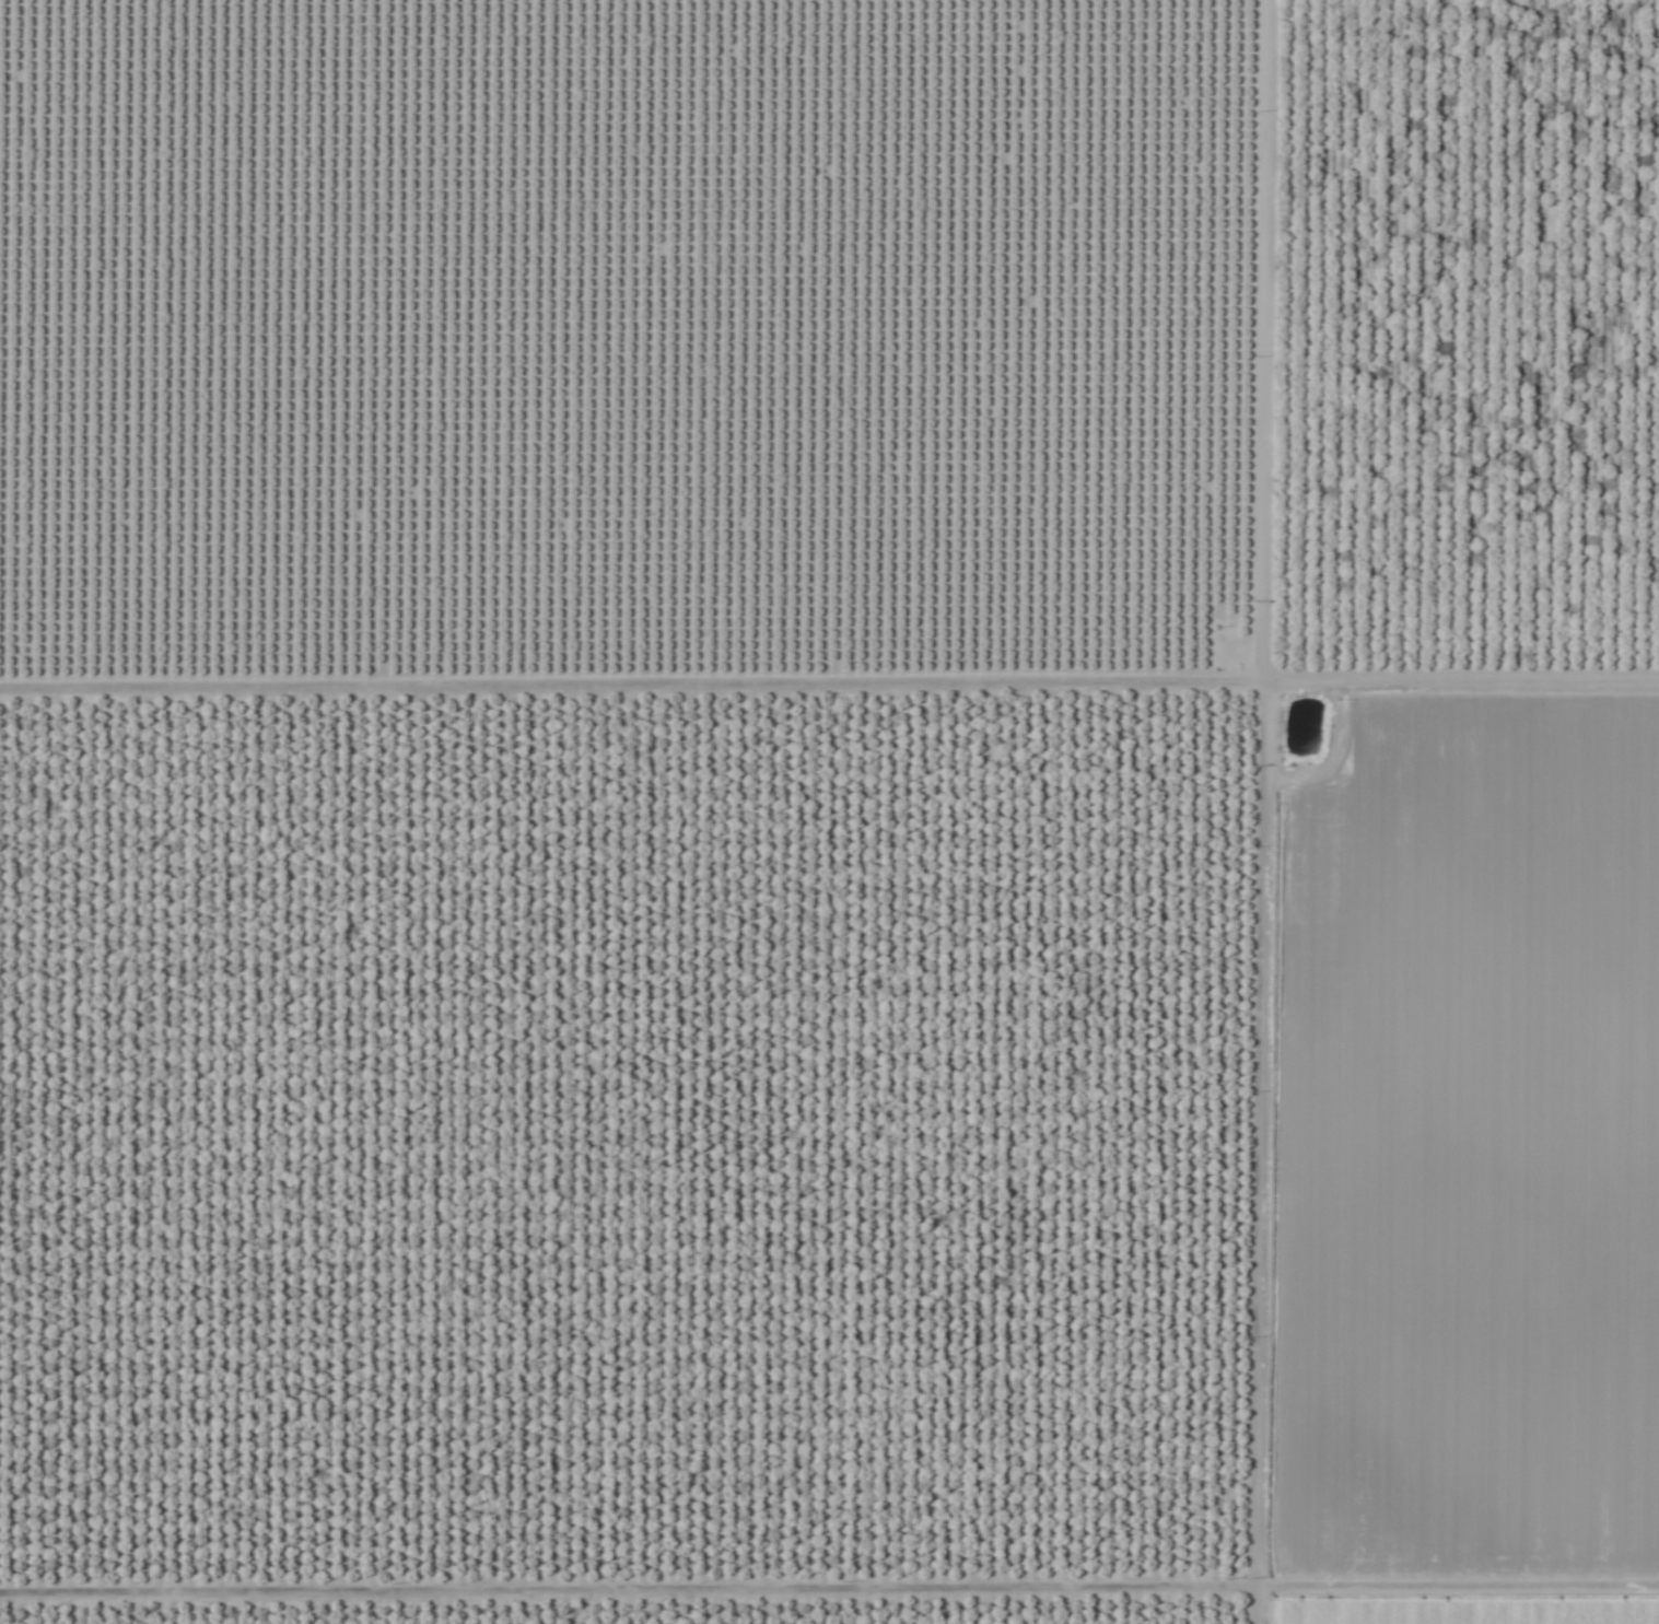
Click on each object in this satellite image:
crop: (829, 811)
road: (1280, 811)

